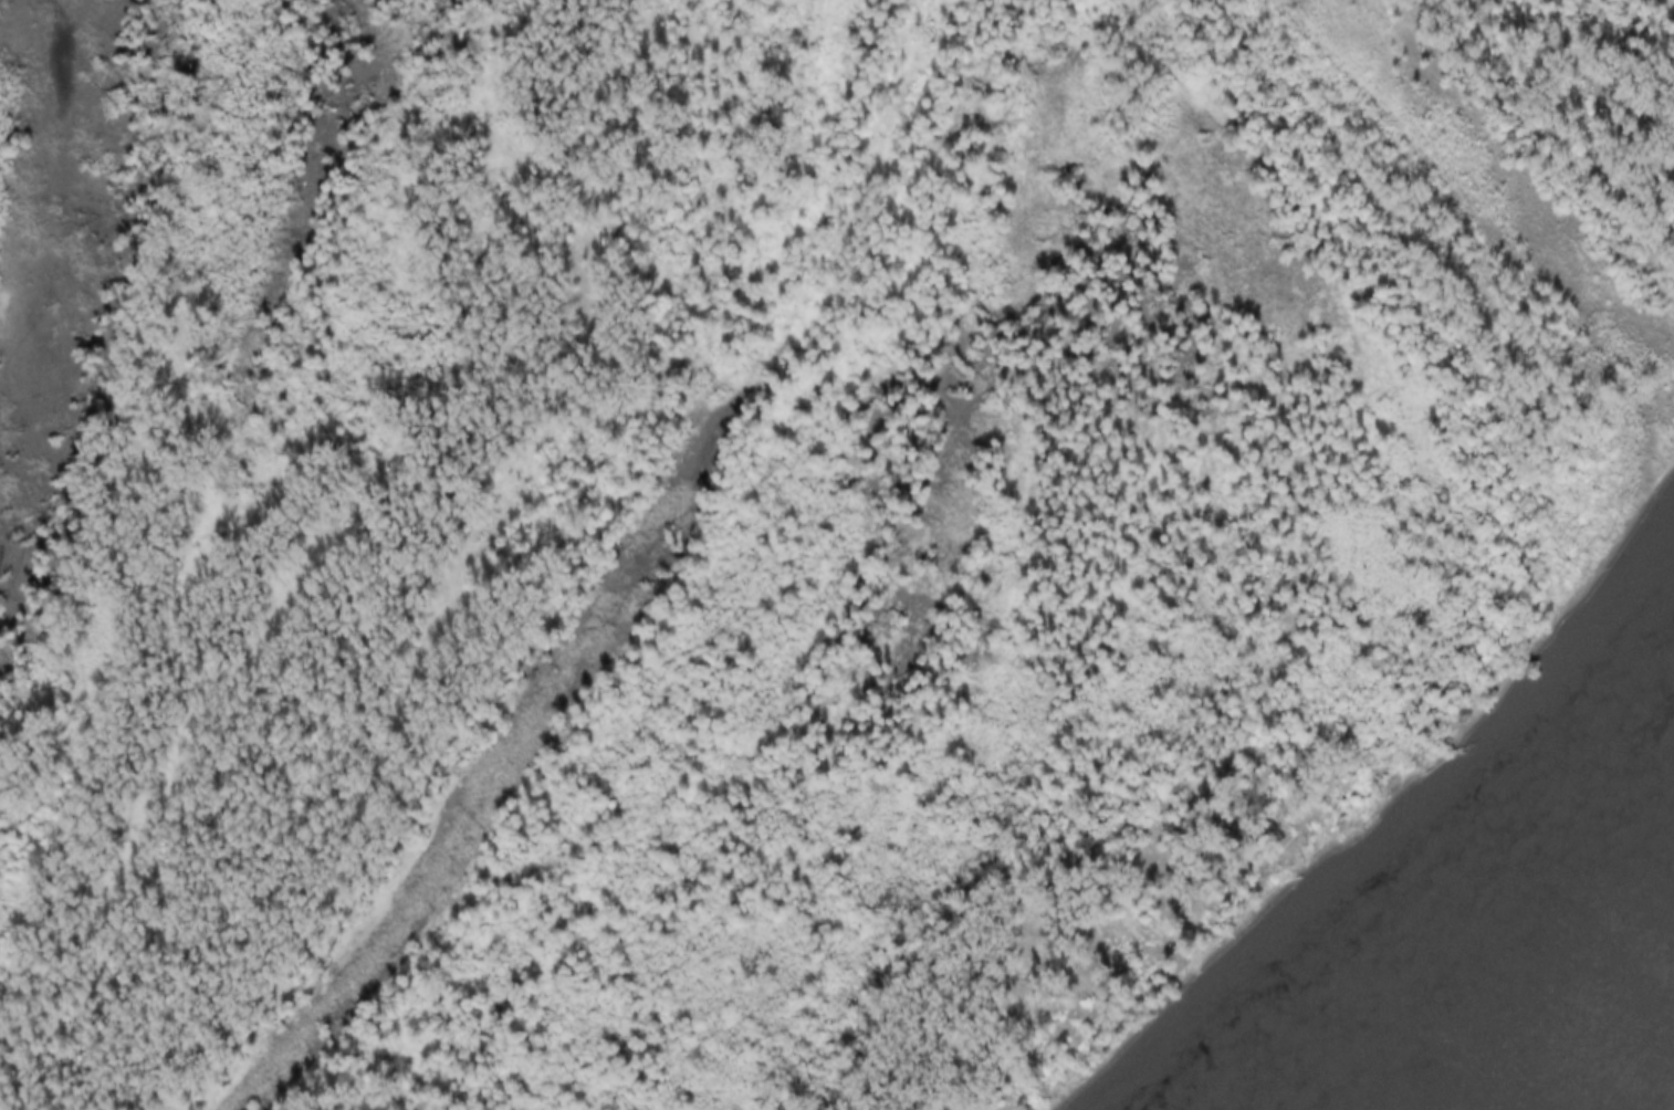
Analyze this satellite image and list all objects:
river: (1544, 988)

